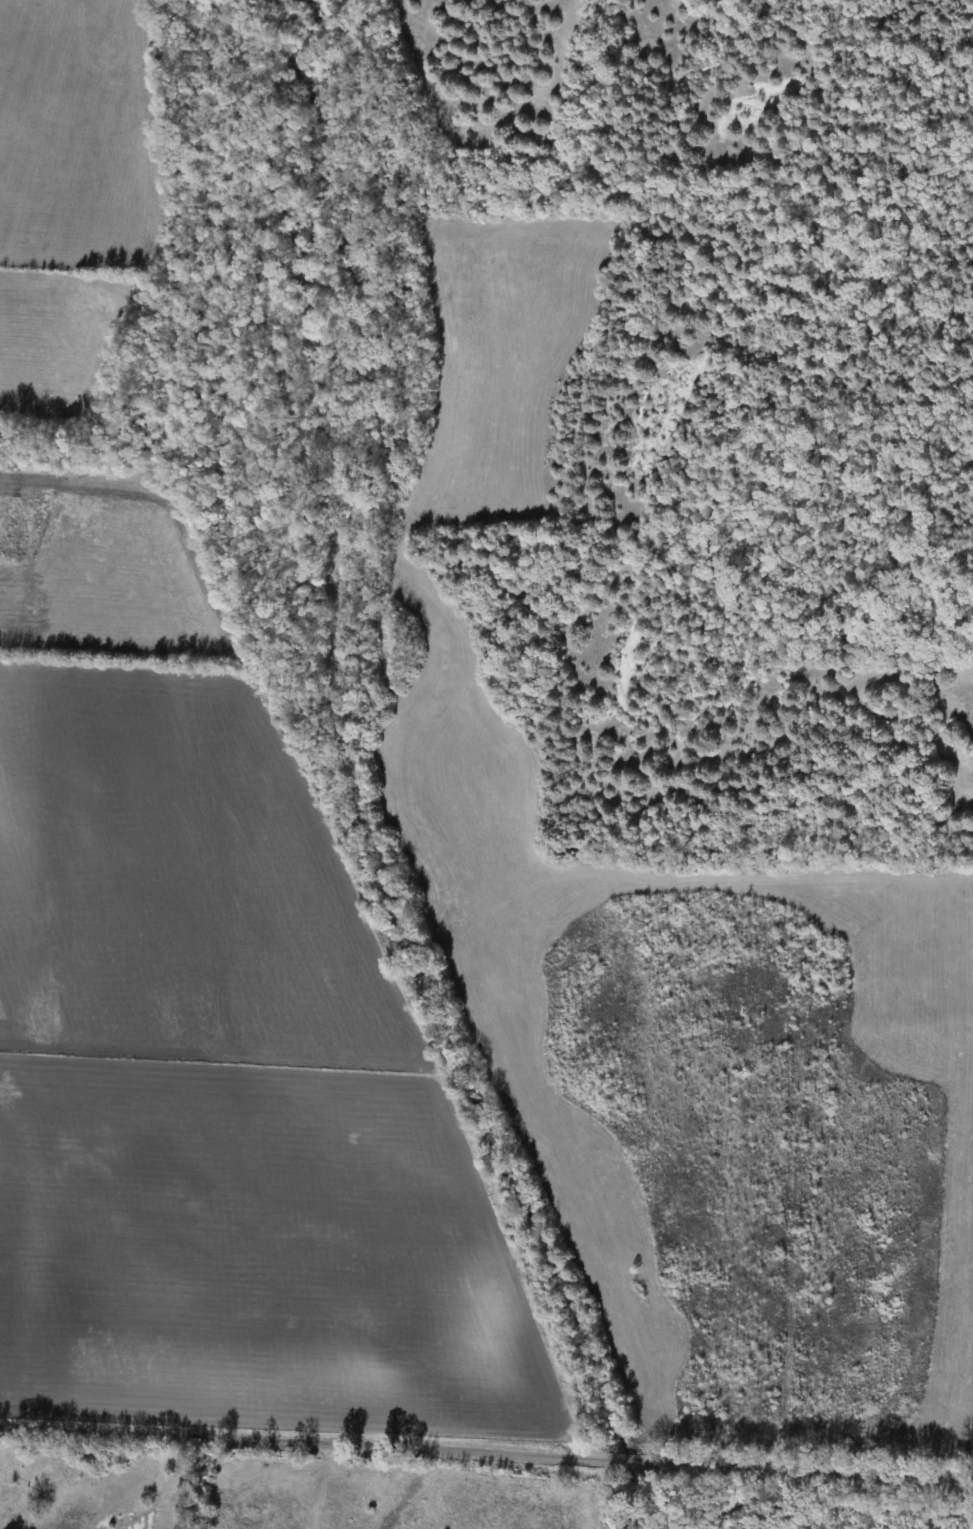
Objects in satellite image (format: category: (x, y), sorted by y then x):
road: (486, 1452)

